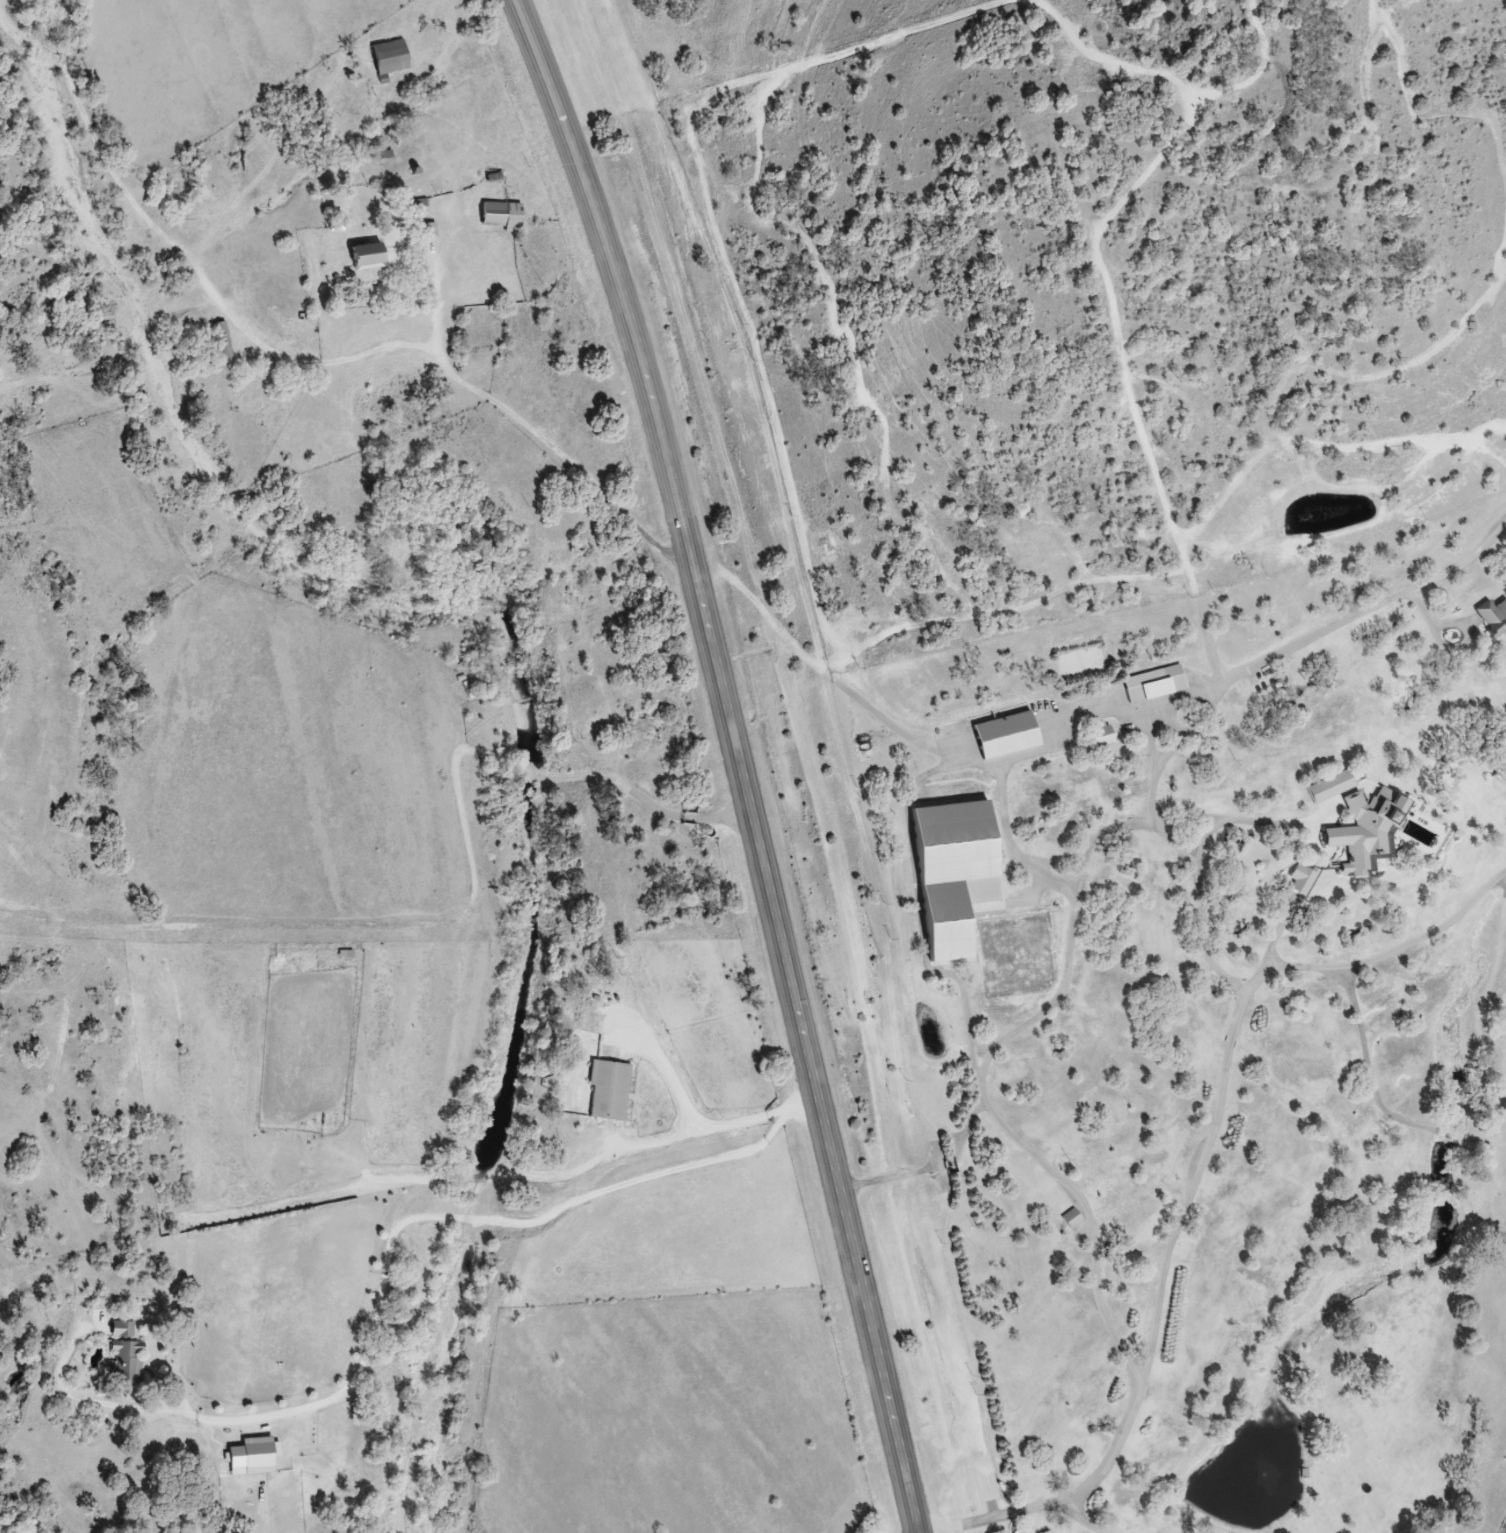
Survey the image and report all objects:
road: (530, 31)
building: (393, 60)
building: (504, 218)
building: (373, 257)
road: (437, 299)
building: (224, 336)
road: (307, 363)
building: (1494, 618)
building: (1081, 665)
building: (1156, 684)
road: (904, 729)
building: (1009, 735)
building: (1105, 735)
building: (1334, 786)
road: (752, 791)
building: (1372, 828)
building: (960, 875)
building: (1304, 880)
road: (1054, 1008)
building: (611, 1090)
road: (700, 1112)
road: (312, 1201)
road: (410, 1207)
building: (1074, 1218)
road: (393, 1268)
road: (1169, 1275)
building: (128, 1355)
building: (263, 1456)
road: (1083, 1521)

